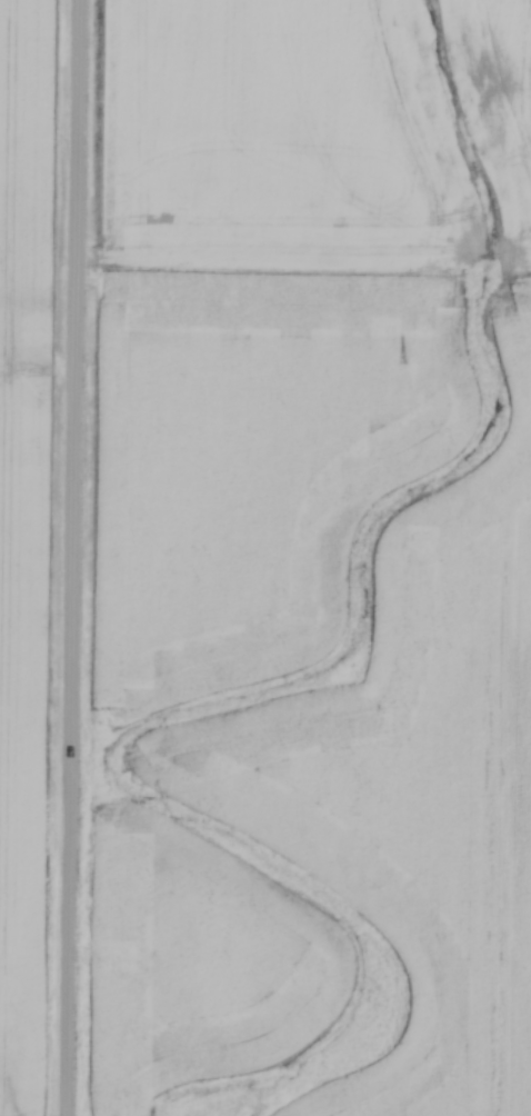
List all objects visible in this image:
road: (66, 558)

